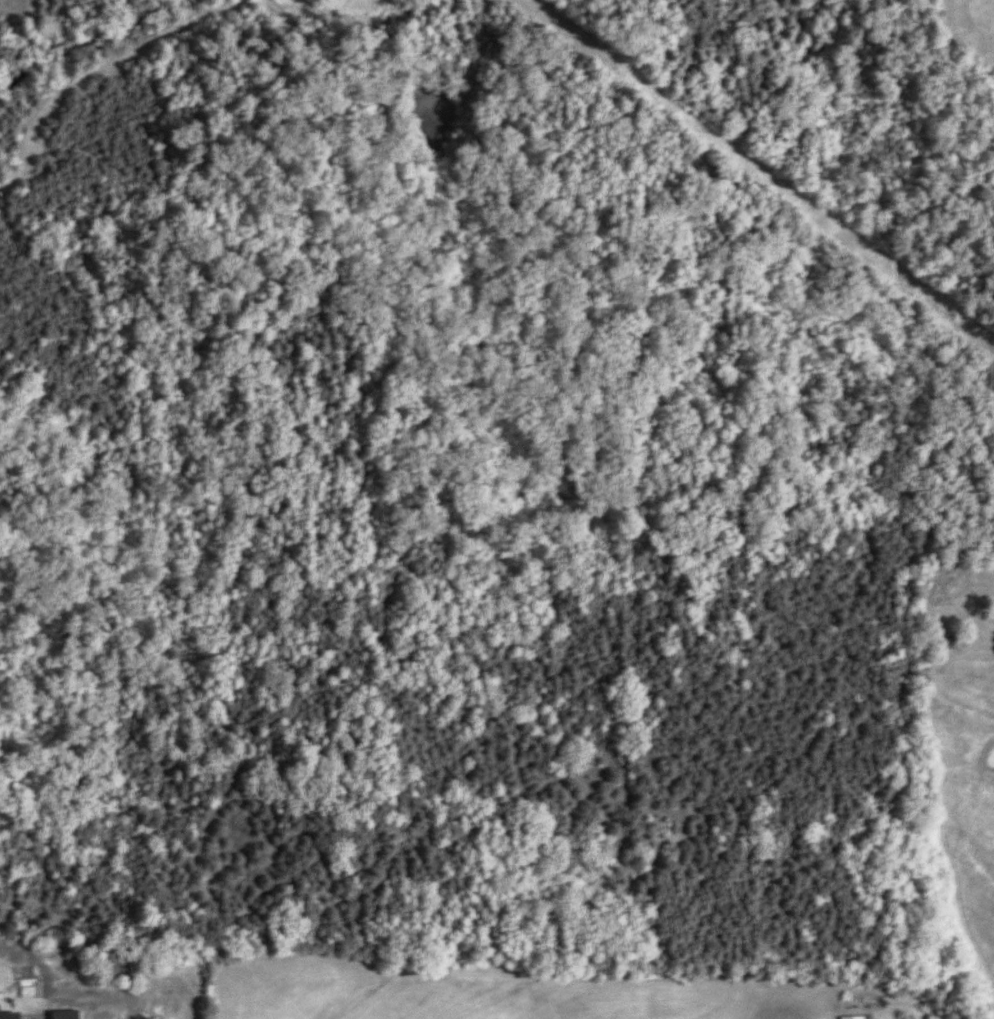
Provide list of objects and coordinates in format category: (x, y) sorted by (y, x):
road: (90, 36)
road: (826, 820)
building: (9, 1016)
building: (852, 1017)

